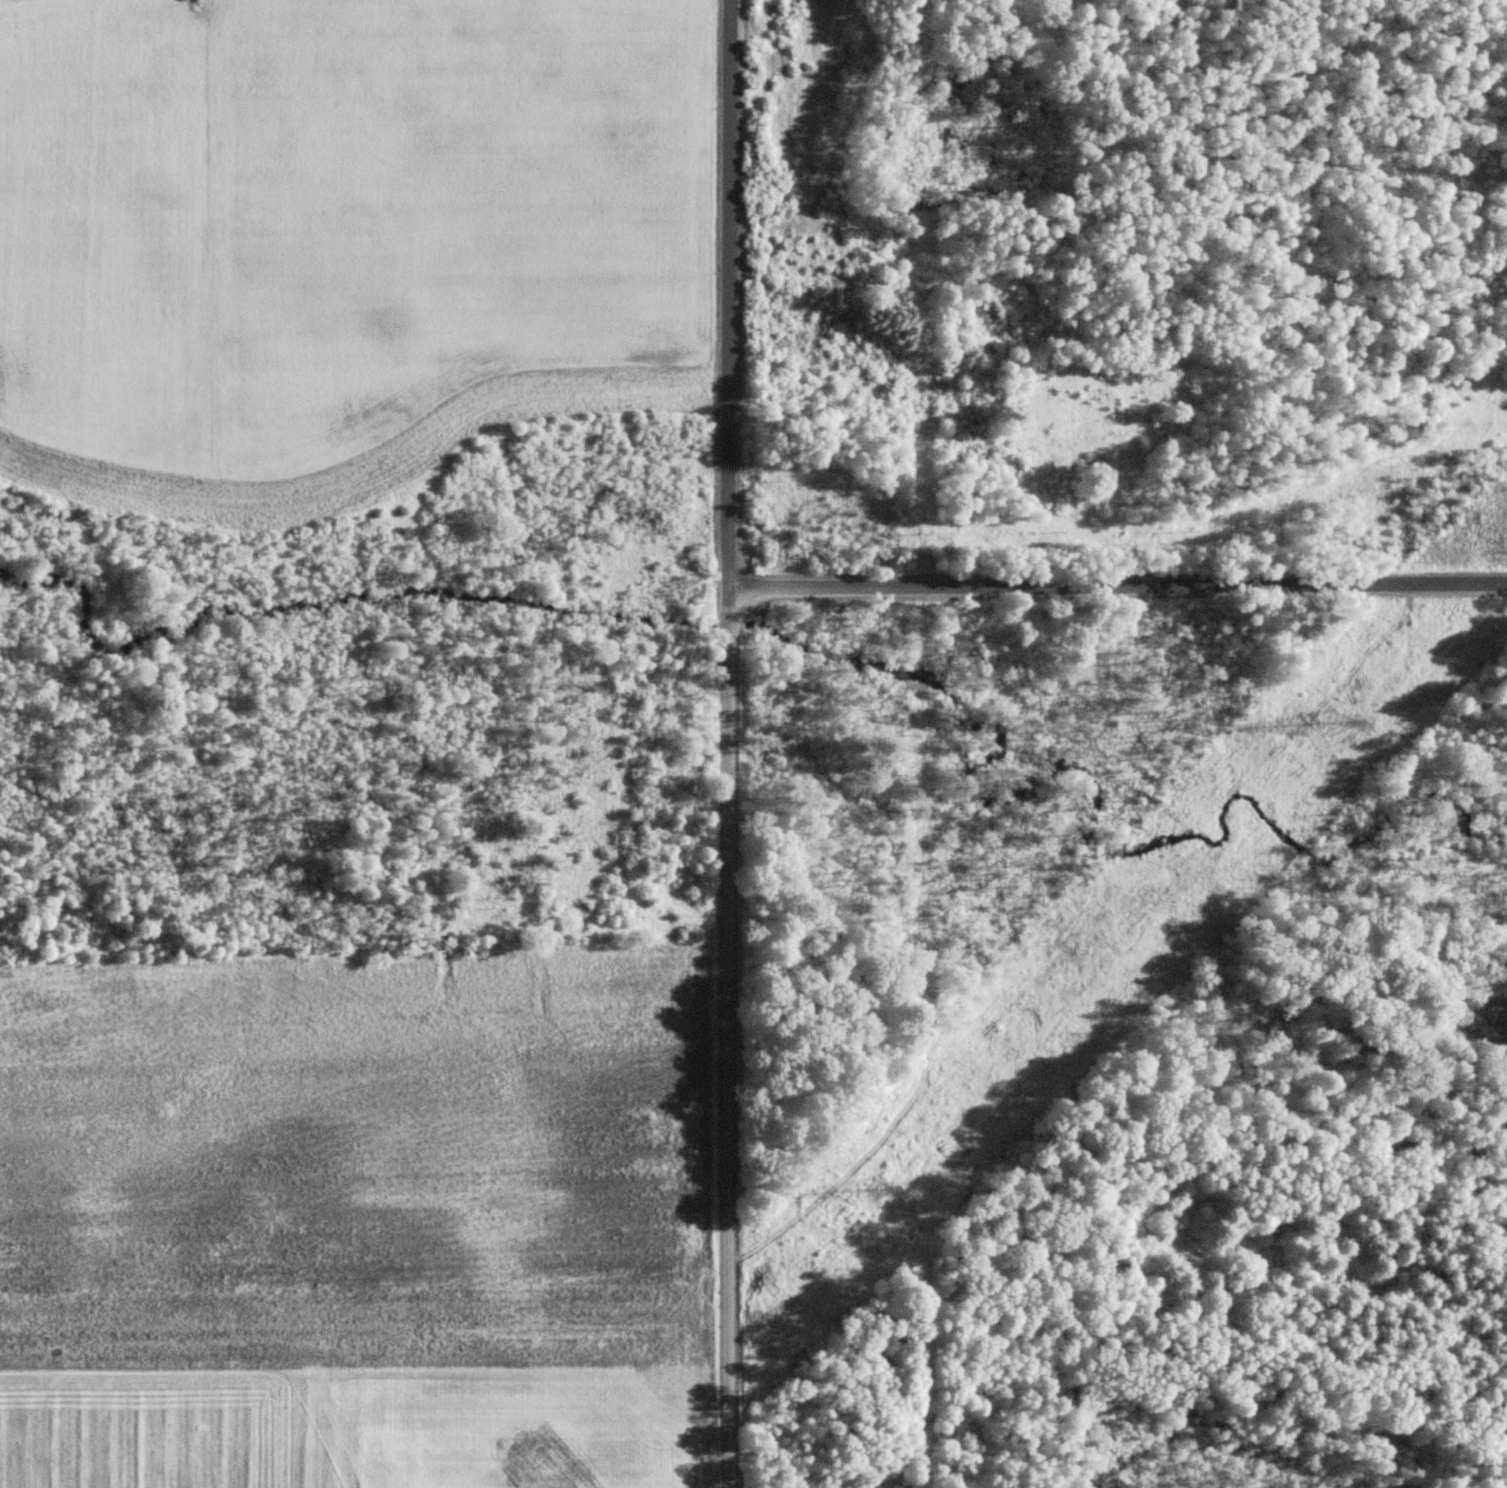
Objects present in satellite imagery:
road: (1117, 587)
power tower: (1333, 729)
road: (729, 743)
power tower: (875, 1195)

